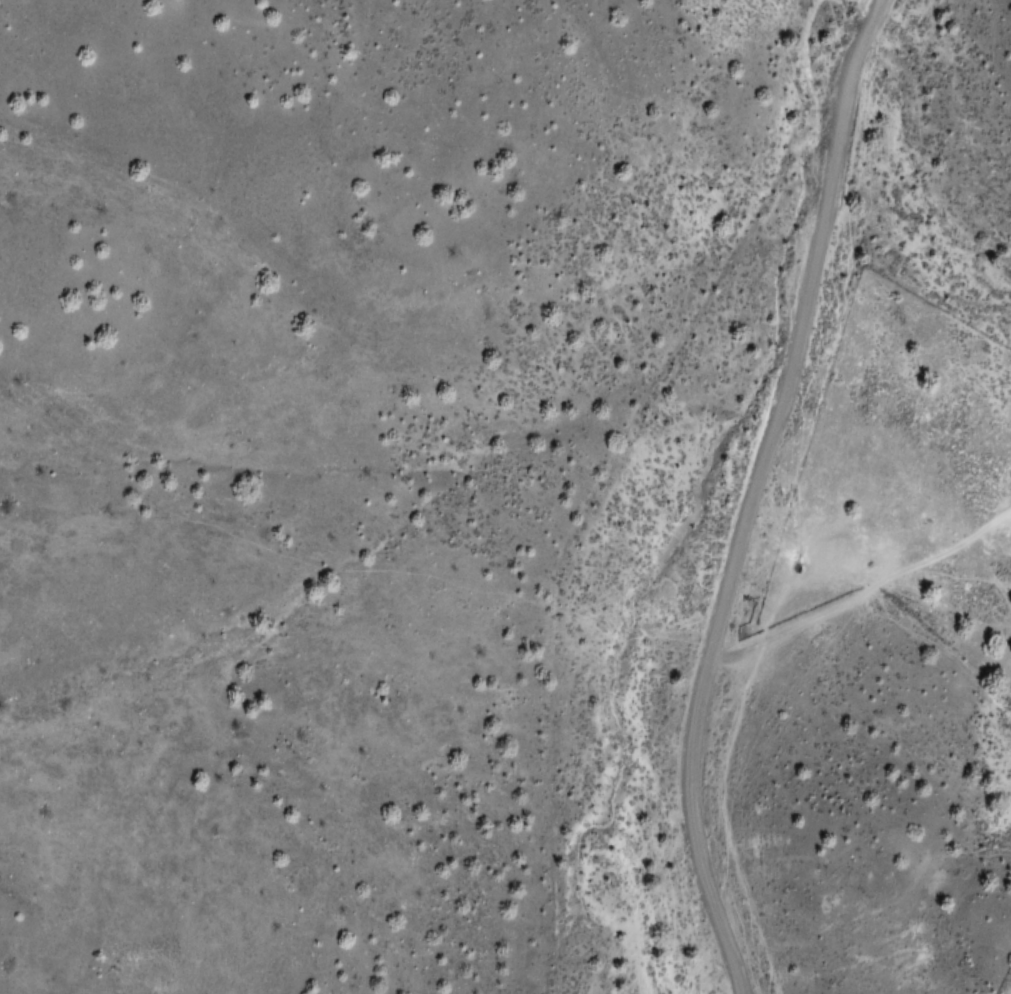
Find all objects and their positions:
road: (754, 496)
road: (860, 583)

